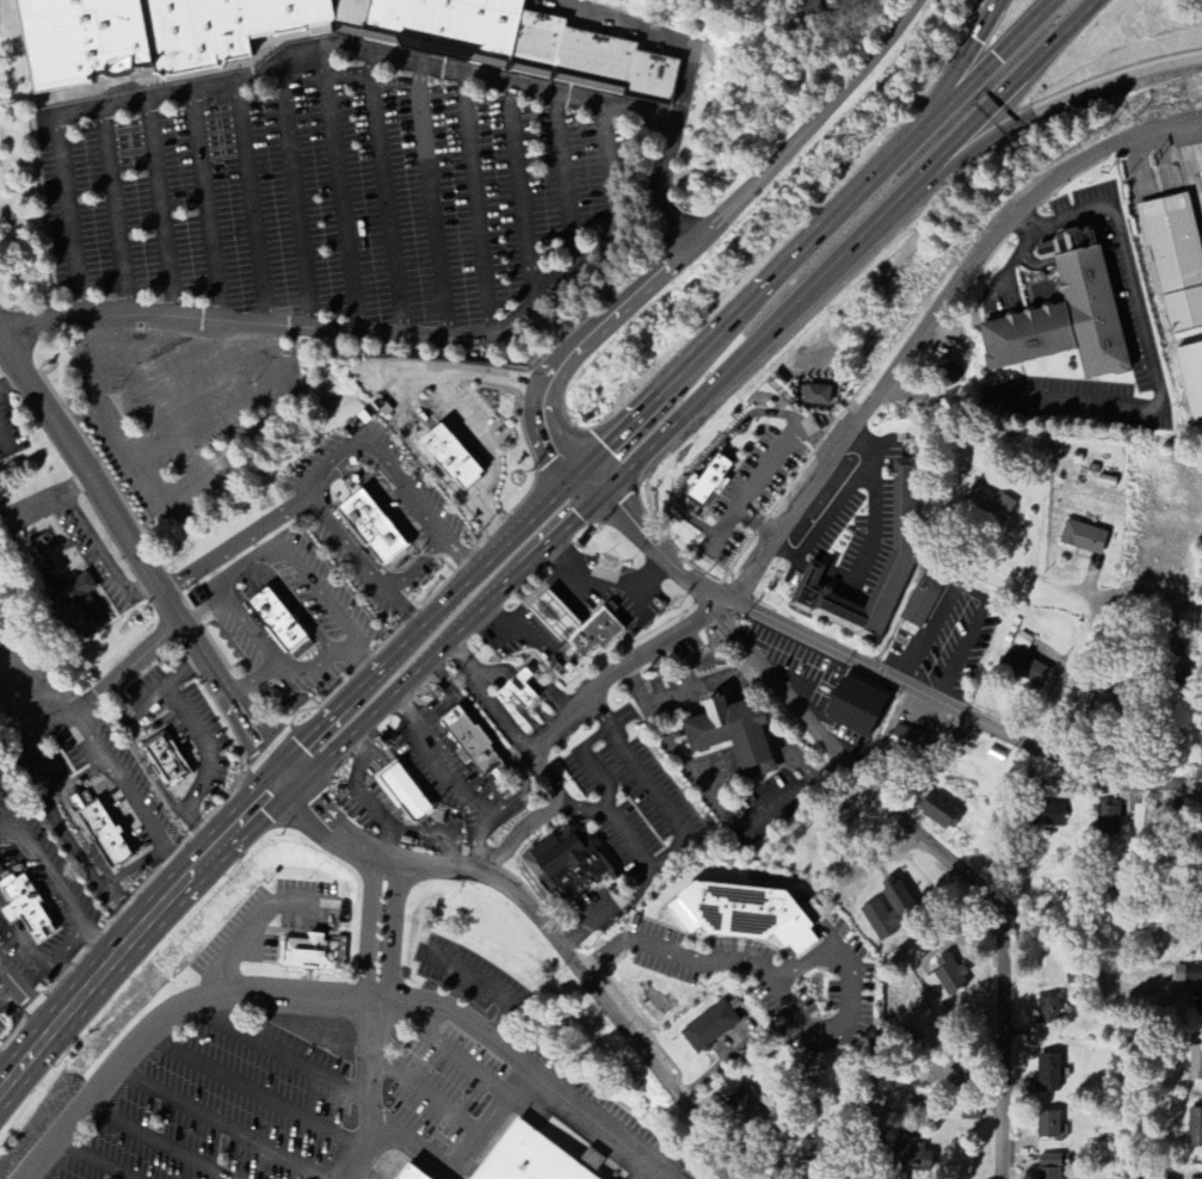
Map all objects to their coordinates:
building: (439, 21)
building: (221, 27)
road: (660, 37)
building: (80, 42)
road: (958, 62)
road: (230, 82)
road: (1047, 109)
traffic signals: (923, 124)
road: (563, 180)
road: (522, 192)
road: (339, 195)
road: (387, 195)
road: (296, 199)
road: (431, 199)
road: (252, 203)
road: (477, 203)
road: (203, 205)
road: (161, 206)
road: (115, 210)
road: (710, 224)
building: (1175, 263)
road: (929, 317)
building: (1065, 317)
road: (488, 333)
road: (1145, 335)
building: (945, 371)
road: (233, 382)
road: (12, 383)
building: (1192, 383)
road: (667, 387)
building: (819, 391)
road: (141, 393)
road: (187, 395)
road: (701, 397)
road: (458, 418)
road: (4, 442)
building: (448, 456)
road: (329, 462)
road: (571, 469)
traffic signals: (577, 475)
building: (708, 480)
road: (74, 484)
road: (177, 487)
traffic signals: (599, 496)
building: (990, 501)
road: (35, 502)
road: (836, 504)
road: (874, 514)
building: (369, 525)
building: (1083, 538)
road: (95, 542)
road: (235, 544)
building: (904, 549)
road: (263, 550)
road: (137, 561)
road: (419, 566)
road: (579, 575)
road: (1047, 579)
road: (630, 586)
road: (140, 587)
building: (921, 601)
building: (75, 605)
road: (201, 615)
building: (554, 616)
road: (554, 616)
building: (276, 619)
road: (1089, 629)
building: (597, 631)
road: (507, 632)
road: (645, 649)
road: (306, 668)
road: (875, 674)
building: (516, 689)
road: (680, 690)
building: (1109, 697)
road: (486, 700)
building: (856, 708)
road: (36, 732)
building: (732, 733)
building: (470, 742)
road: (205, 746)
building: (908, 746)
building: (164, 758)
traffic signals: (289, 776)
road: (119, 778)
building: (402, 792)
building: (939, 811)
building: (1046, 815)
road: (725, 816)
building: (1108, 819)
building: (1140, 820)
road: (676, 821)
building: (103, 833)
road: (943, 850)
road: (148, 857)
building: (566, 863)
building: (0, 872)
road: (119, 907)
building: (23, 908)
road: (608, 909)
building: (888, 909)
building: (741, 913)
road: (137, 927)
road: (253, 928)
road: (544, 930)
road: (371, 950)
building: (308, 952)
road: (388, 952)
building: (945, 980)
road: (486, 986)
road: (25, 992)
road: (779, 994)
road: (333, 998)
building: (1198, 1002)
building: (1048, 1012)
building: (710, 1026)
road: (278, 1053)
road: (457, 1056)
building: (1195, 1064)
building: (1048, 1074)
road: (252, 1091)
road: (426, 1094)
building: (747, 1106)
building: (898, 1111)
building: (970, 1115)
road: (371, 1116)
road: (217, 1125)
building: (1048, 1125)
building: (1194, 1128)
road: (155, 1140)
building: (815, 1149)
road: (460, 1156)
road: (91, 1159)
building: (529, 1159)
building: (912, 1159)
building: (592, 1161)
building: (1048, 1167)
building: (409, 1174)
road: (29, 1175)

